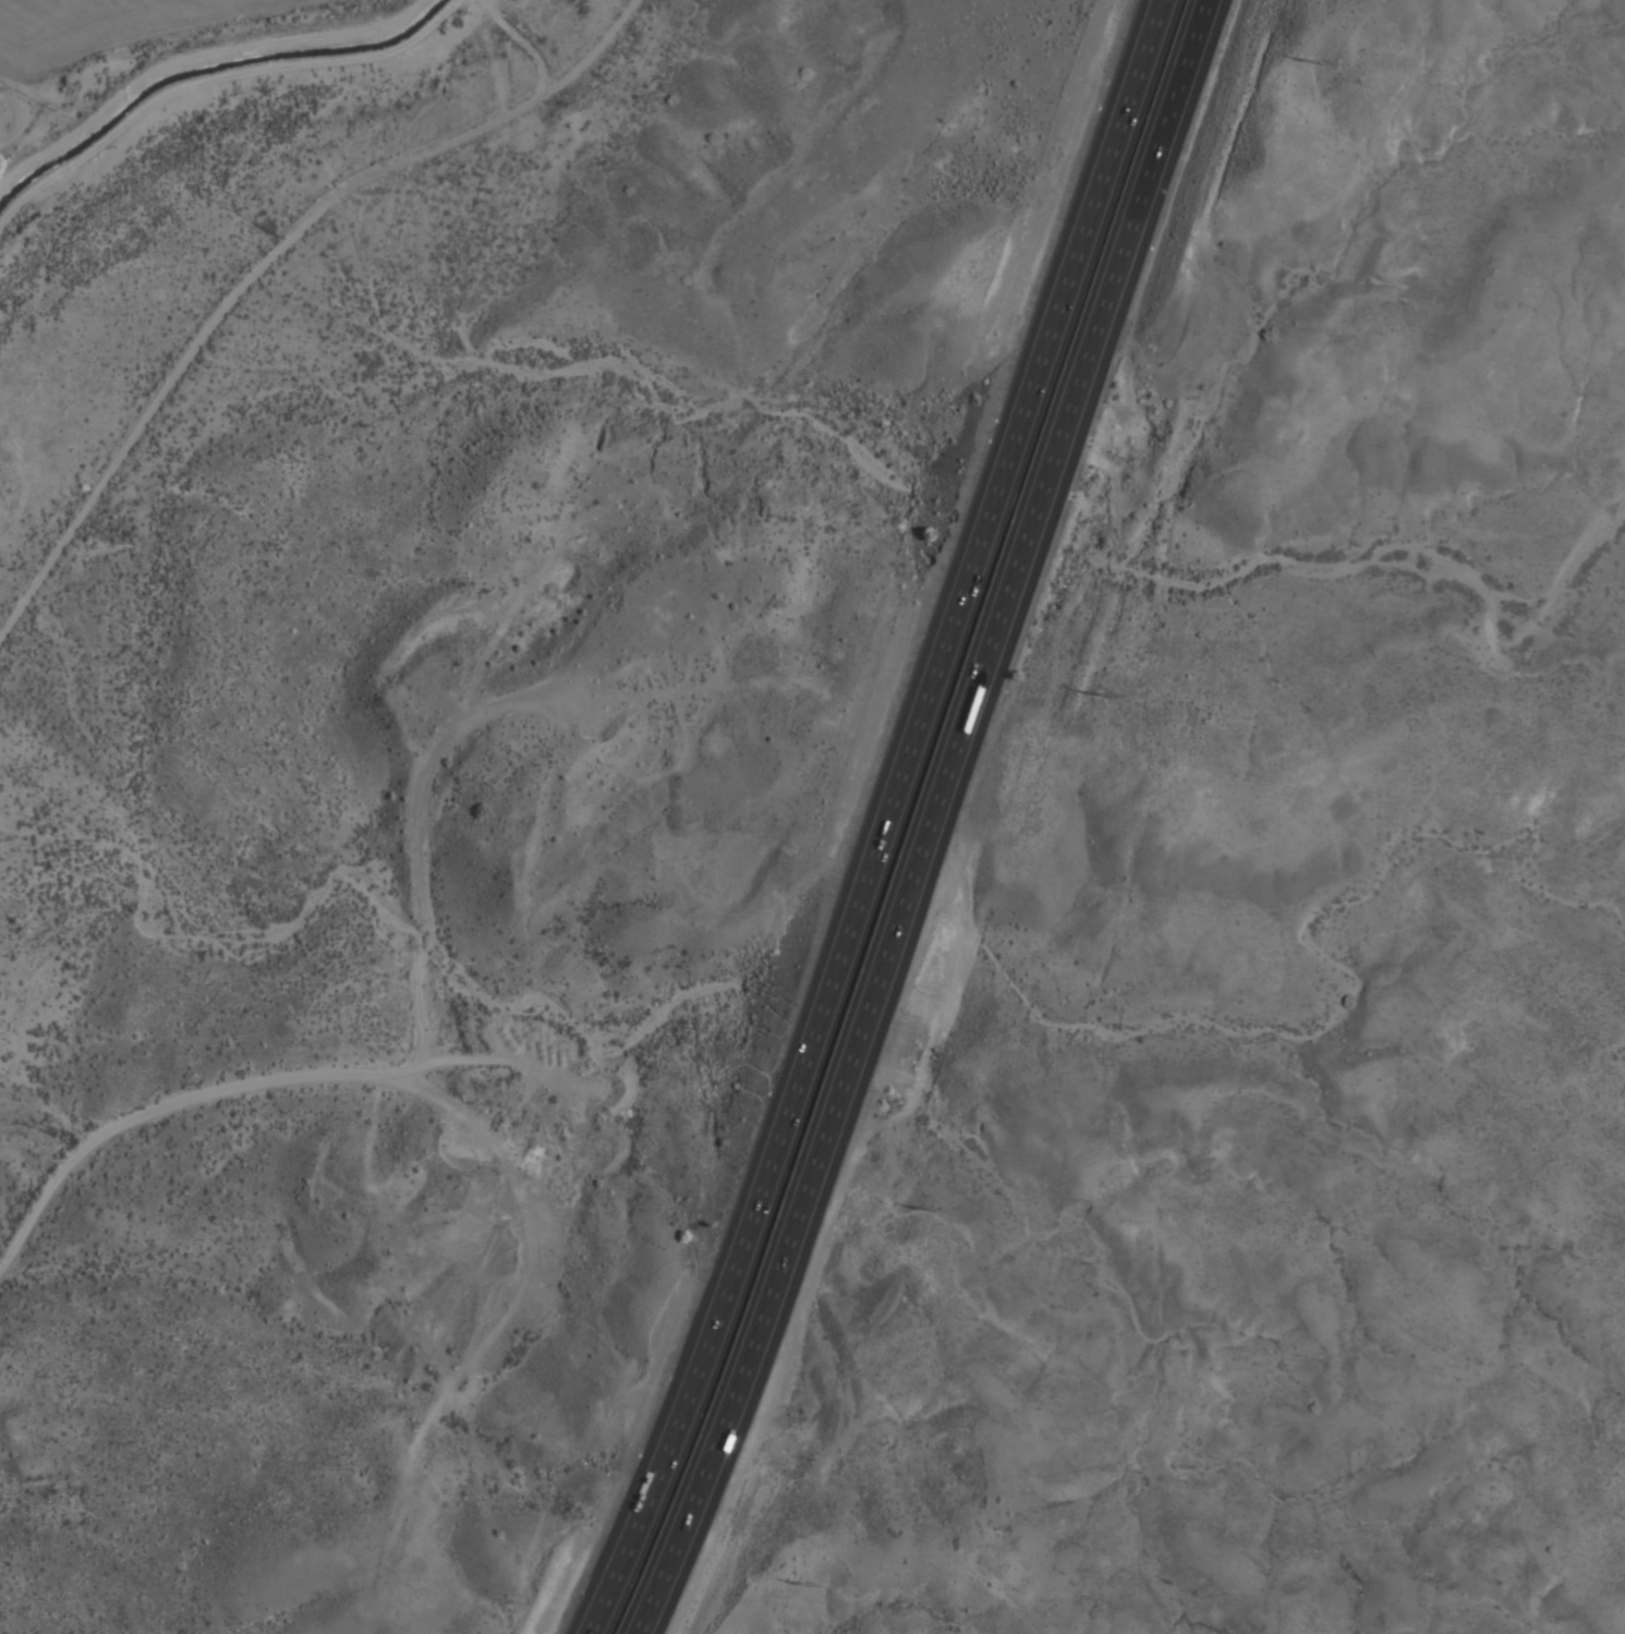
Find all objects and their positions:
road: (267, 265)
road: (922, 816)
road: (868, 821)
road: (171, 1109)

